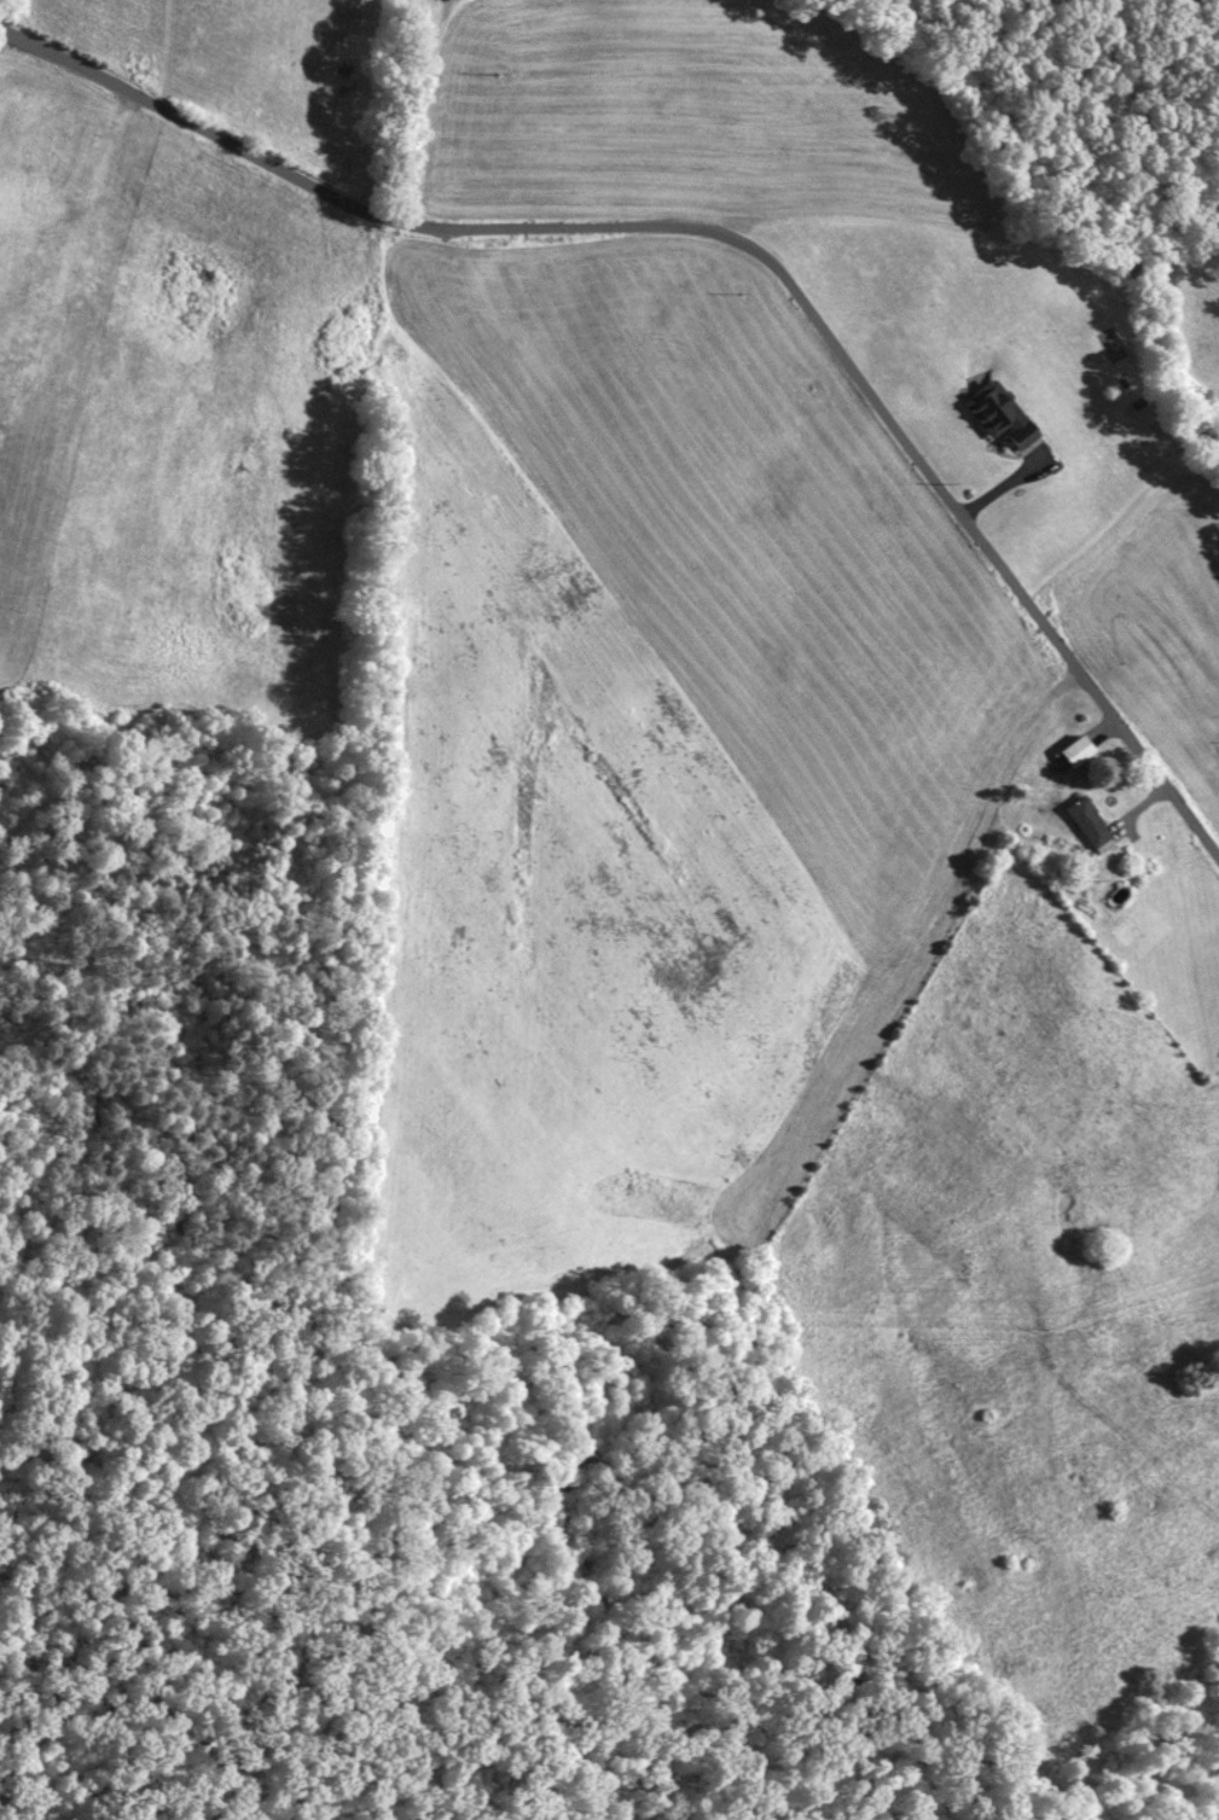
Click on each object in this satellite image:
road: (730, 287)
building: (995, 423)
building: (1068, 750)
building: (1082, 824)

